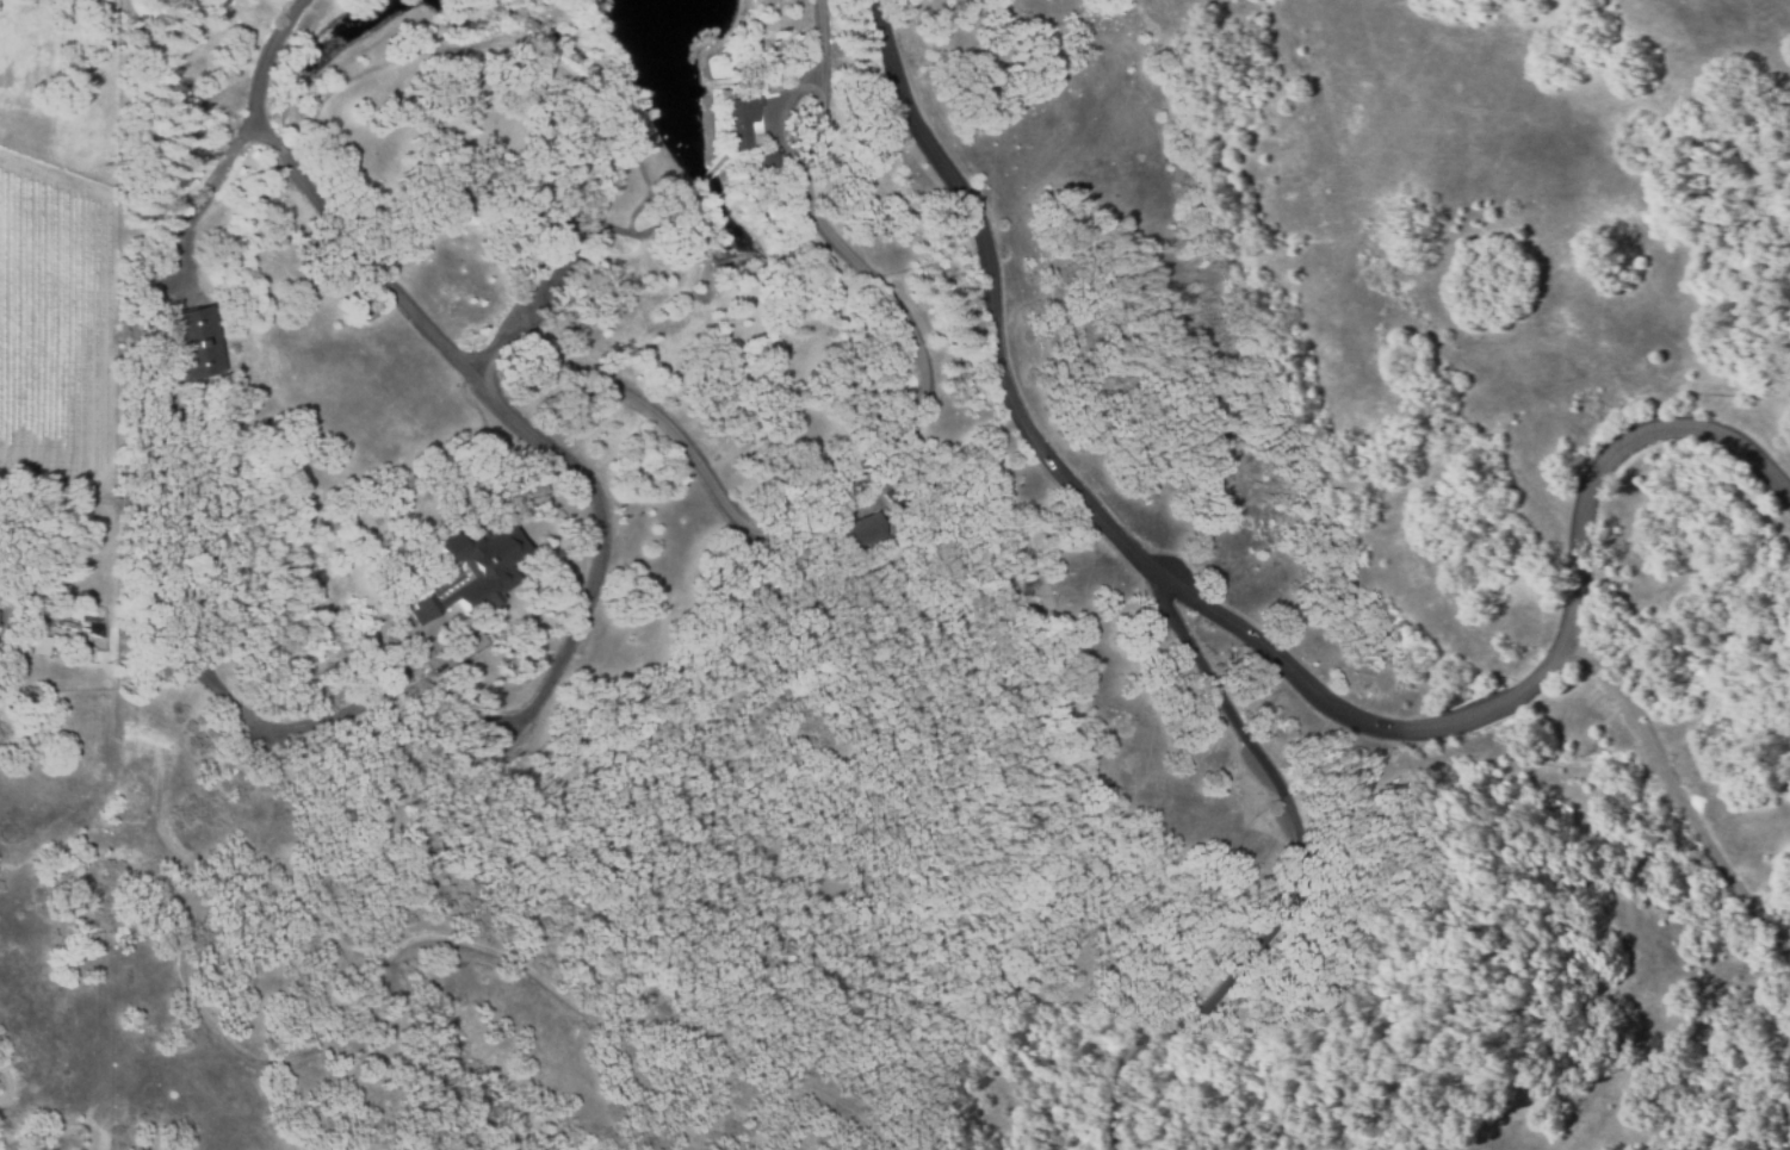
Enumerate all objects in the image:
dam: (738, 4)
building: (737, 125)
building: (764, 161)
road: (204, 197)
building: (198, 343)
road: (467, 377)
road: (929, 392)
building: (867, 535)
building: (470, 573)
building: (5, 616)
road: (1247, 630)
building: (43, 644)
building: (24, 649)
building: (85, 651)
road: (1677, 792)
road: (1318, 882)

